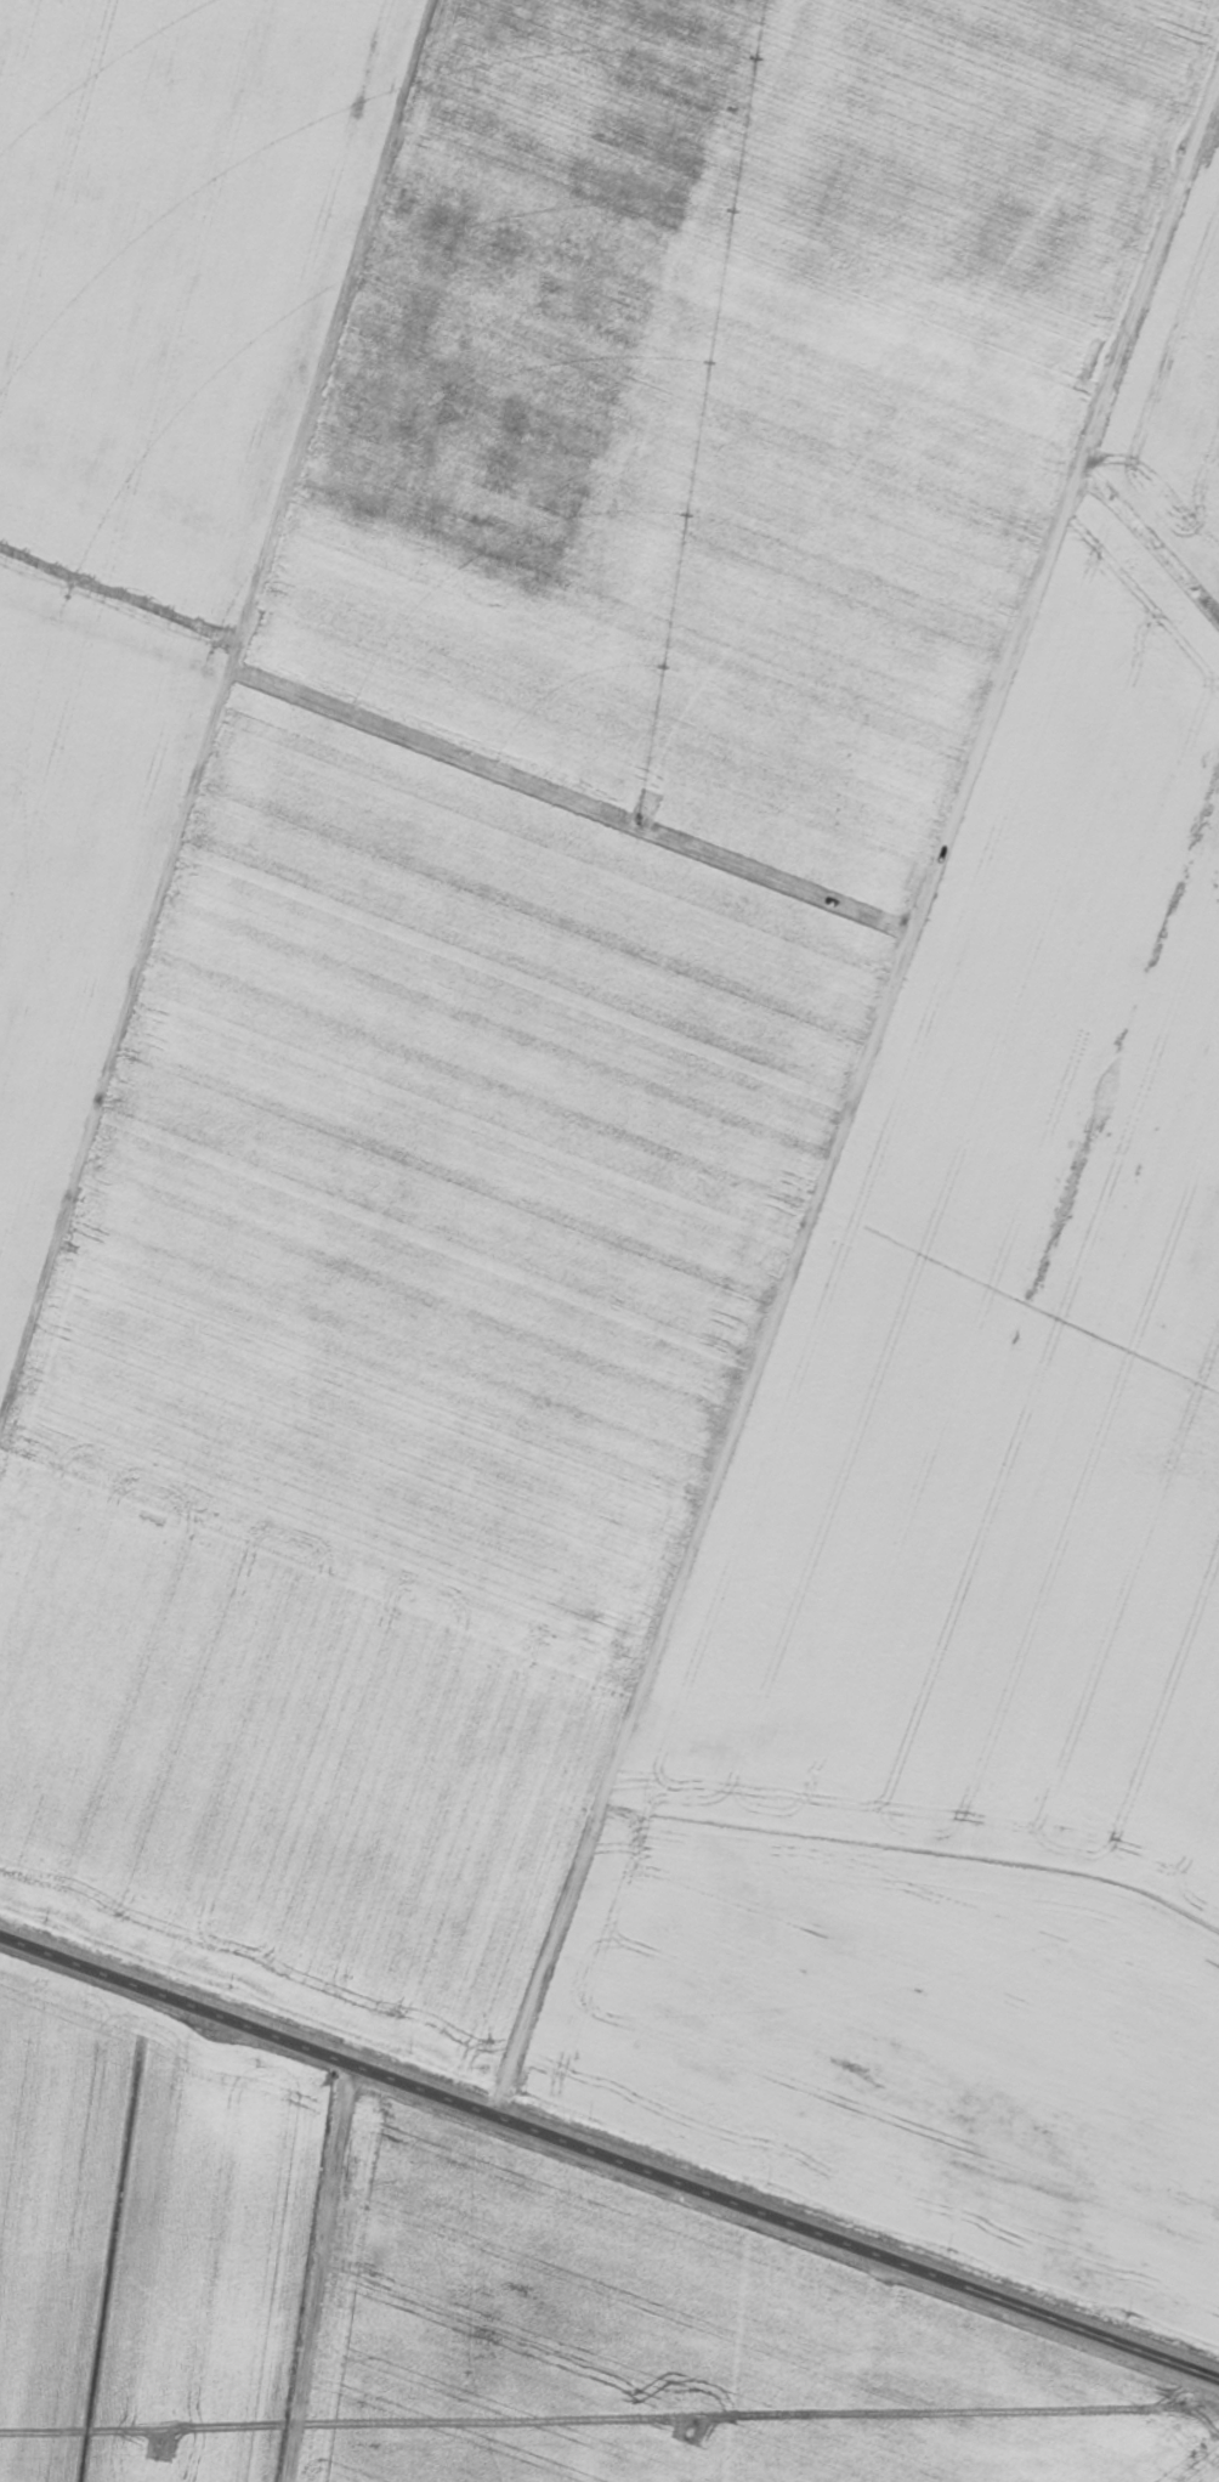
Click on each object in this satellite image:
road: (609, 2160)
power tower: (690, 2431)
power tower: (157, 2446)

